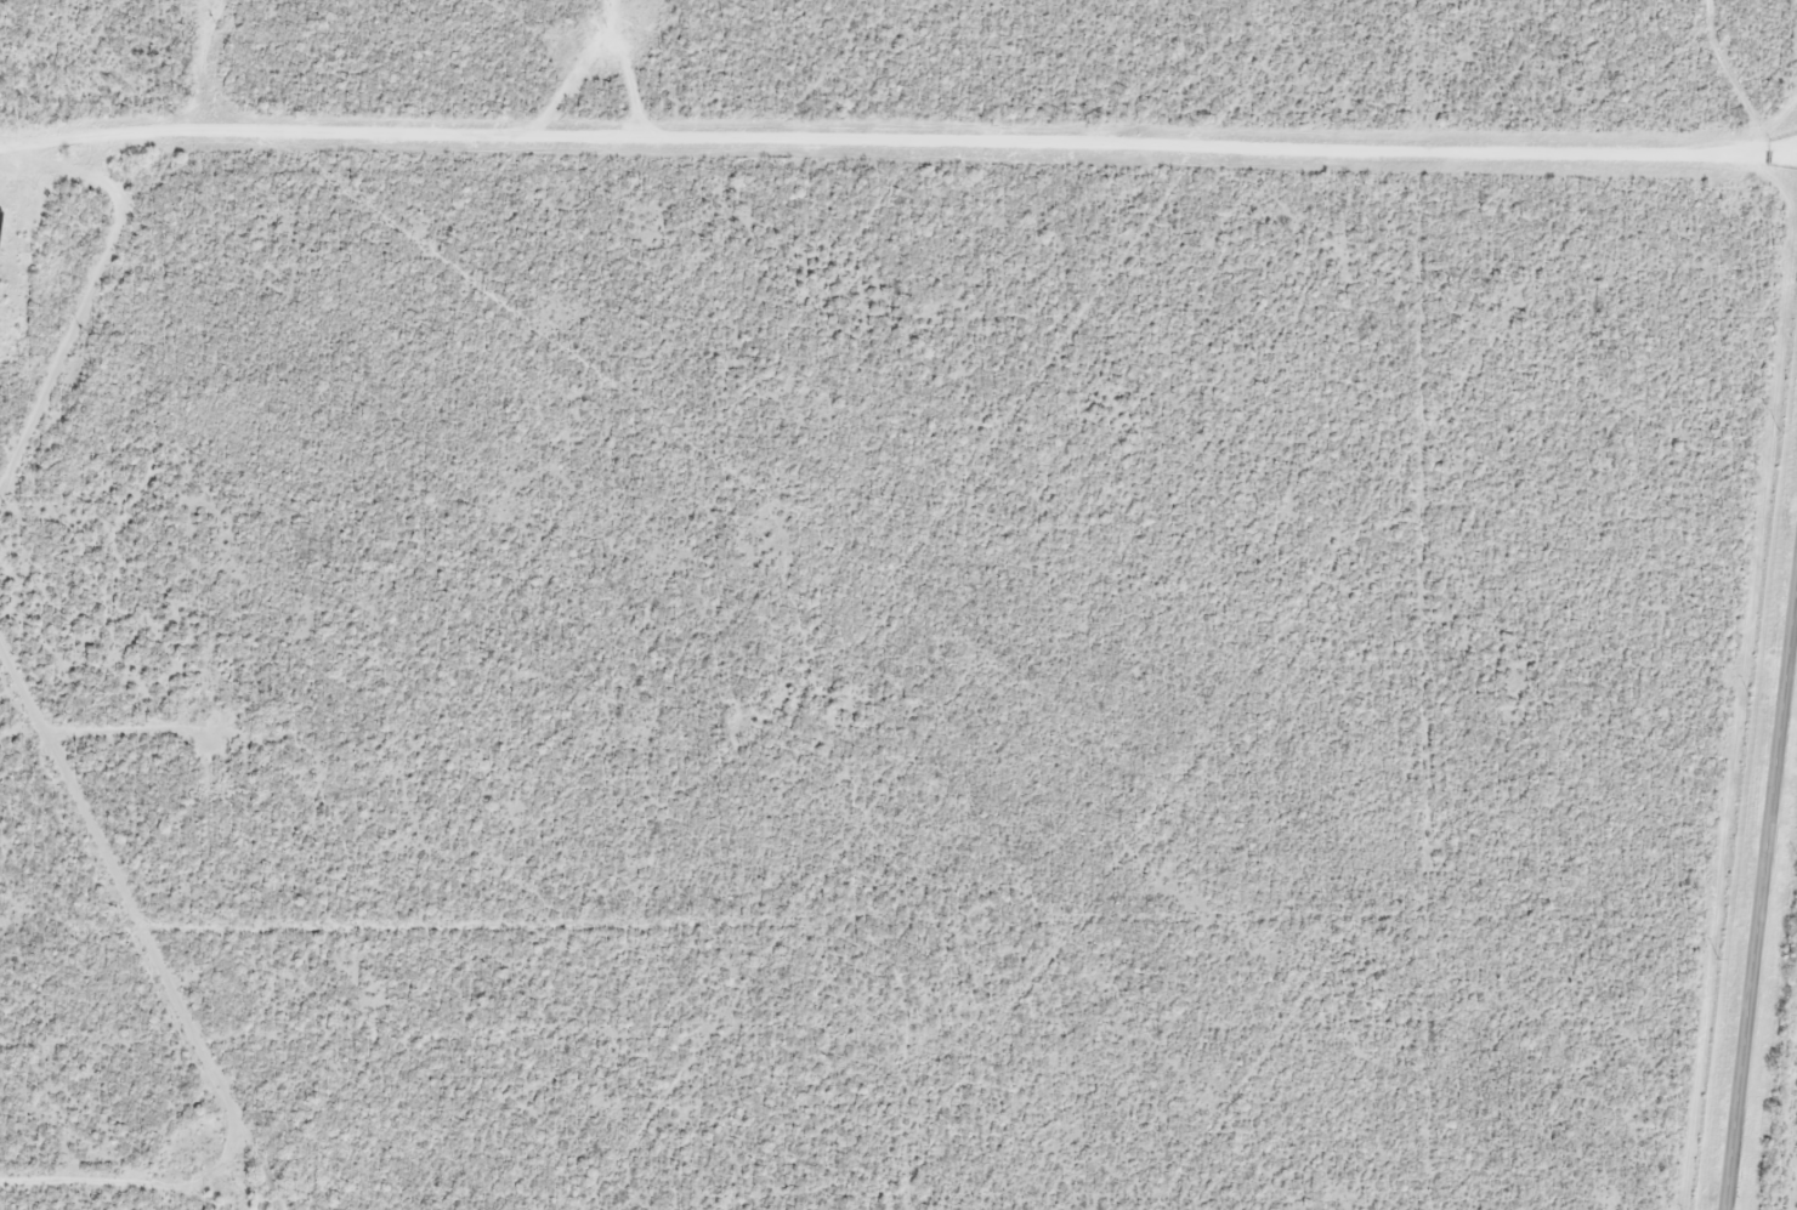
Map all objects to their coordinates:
road: (897, 135)
road: (2, 183)
road: (1772, 993)

